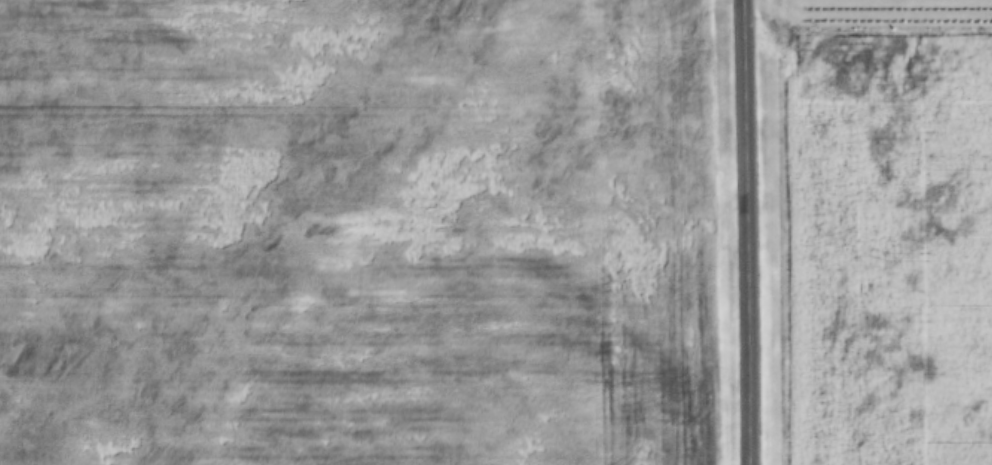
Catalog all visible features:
road: (744, 232)

